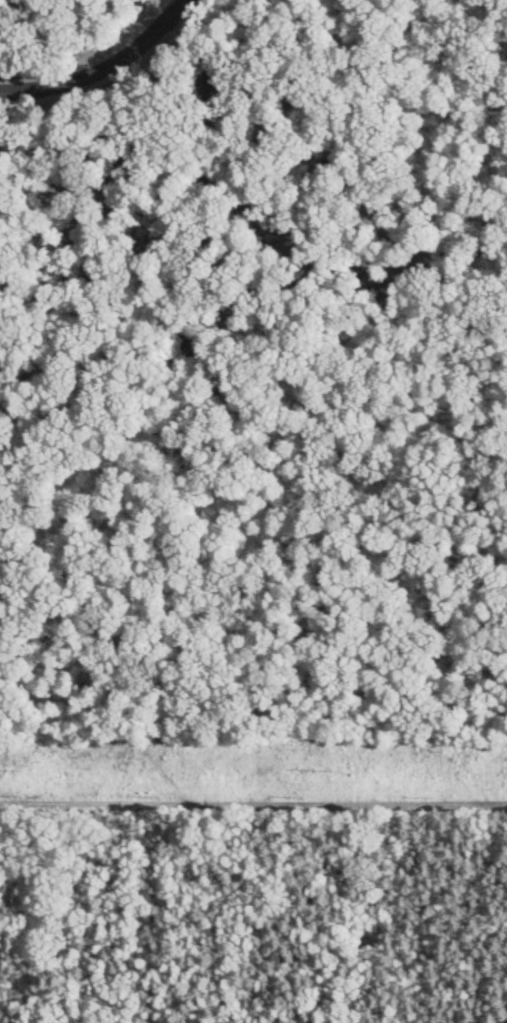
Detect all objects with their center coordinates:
road: (103, 69)

